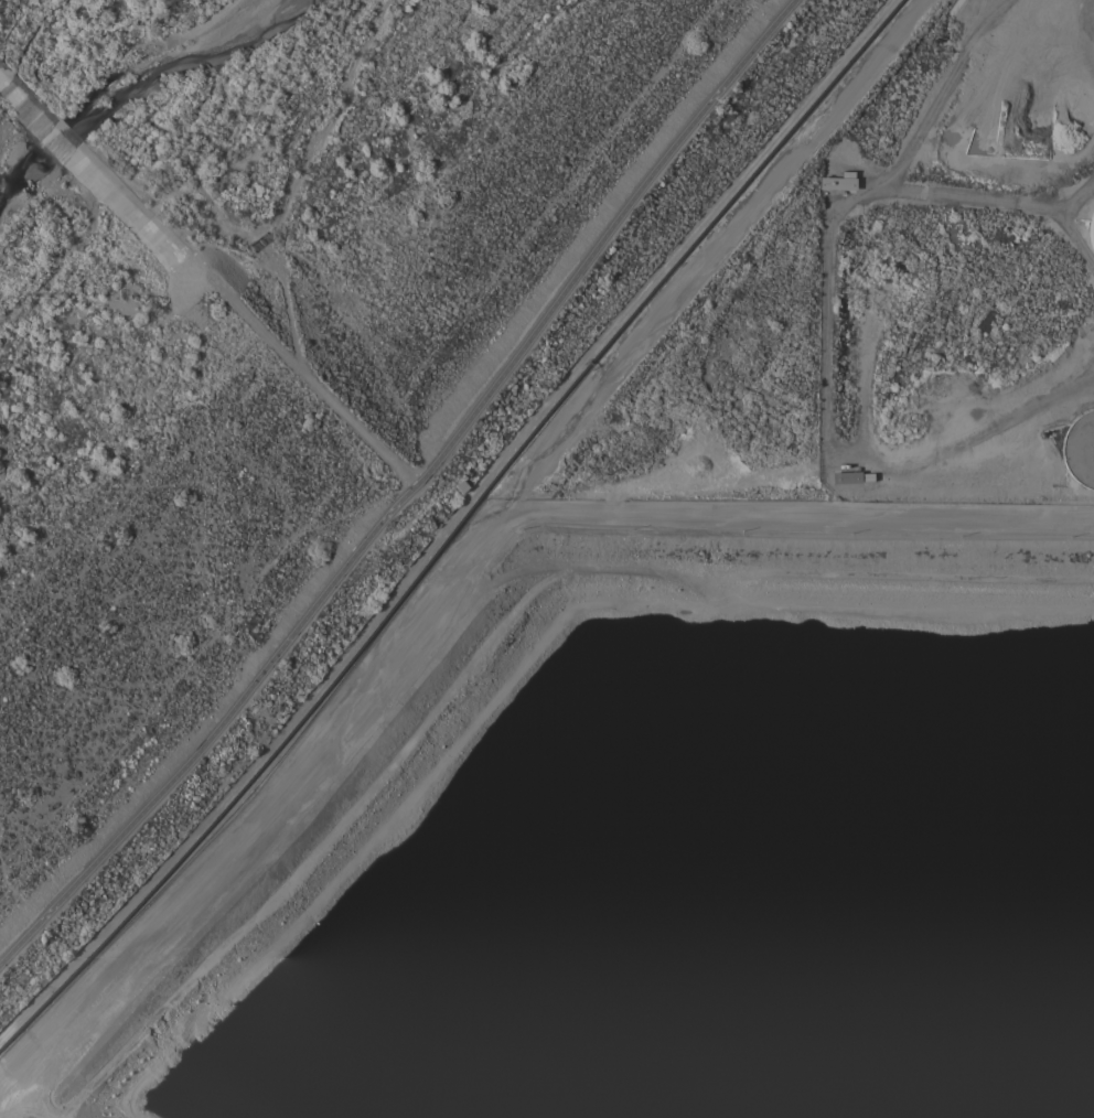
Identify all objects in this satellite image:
river: (148, 105)
building: (839, 181)
road: (1001, 198)
building: (1091, 230)
road: (827, 342)
building: (1080, 448)
building: (851, 476)
road: (408, 490)

